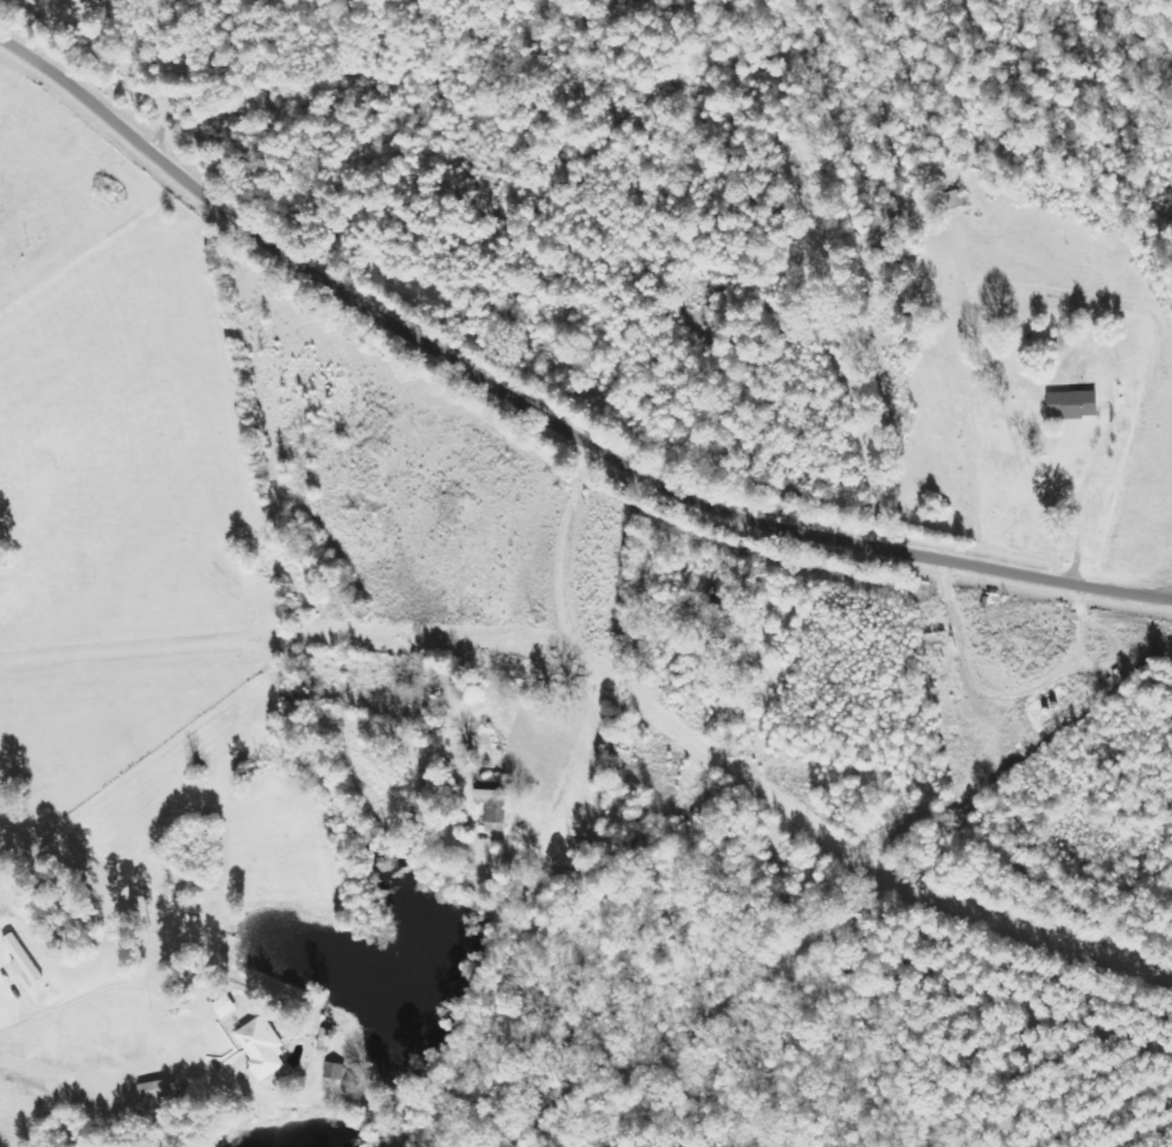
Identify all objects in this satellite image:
building: (1075, 404)
road: (540, 418)
road: (1146, 554)
road: (577, 651)
building: (496, 805)
road: (71, 999)
building: (263, 1049)
building: (154, 1091)

